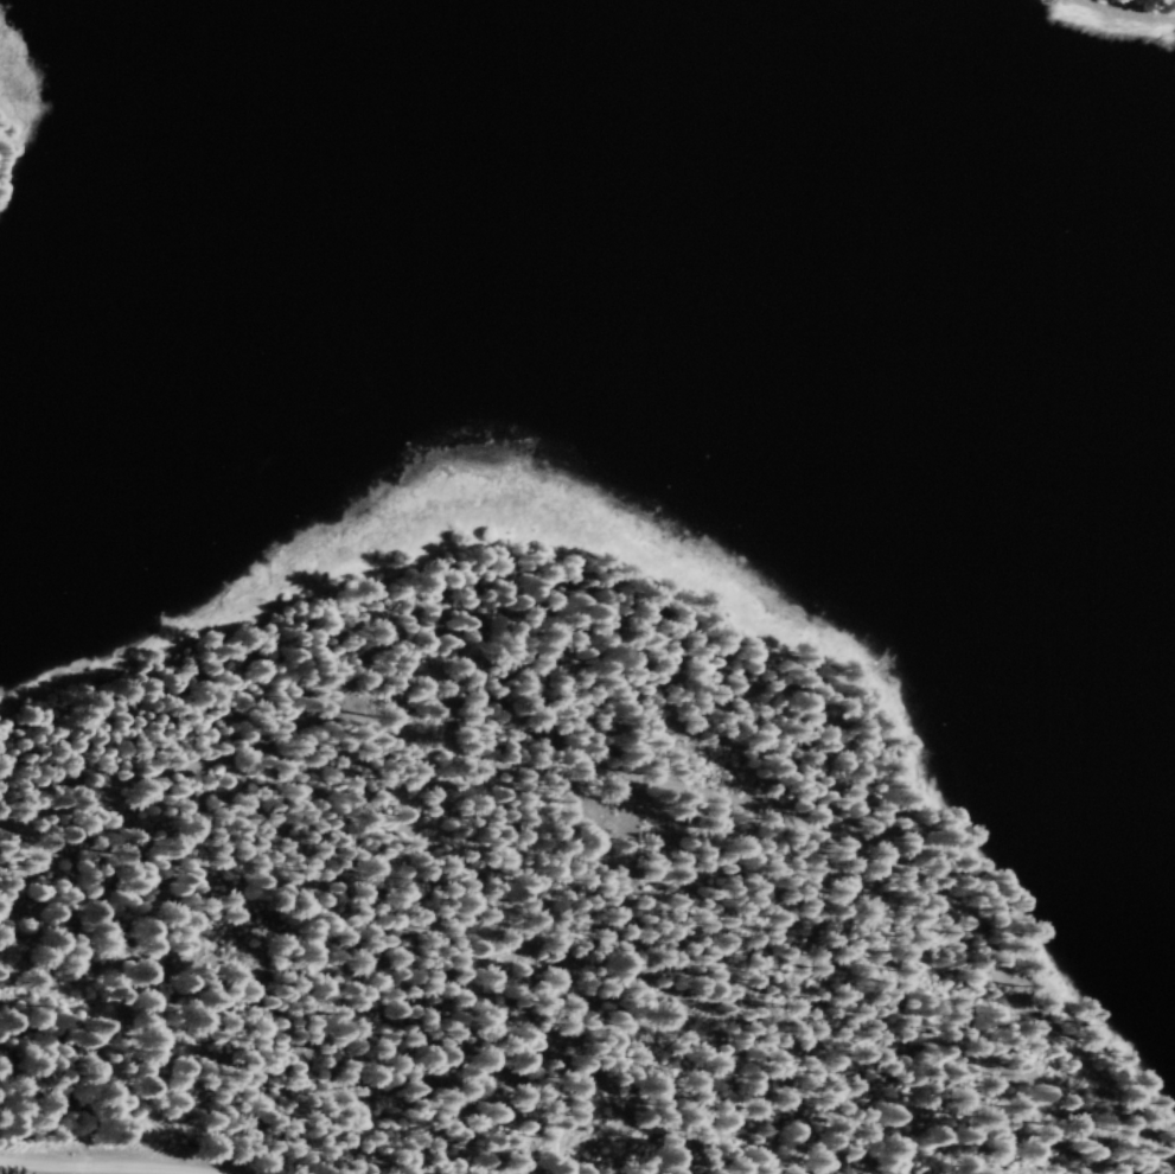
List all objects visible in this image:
road: (639, 799)
road: (126, 1155)

